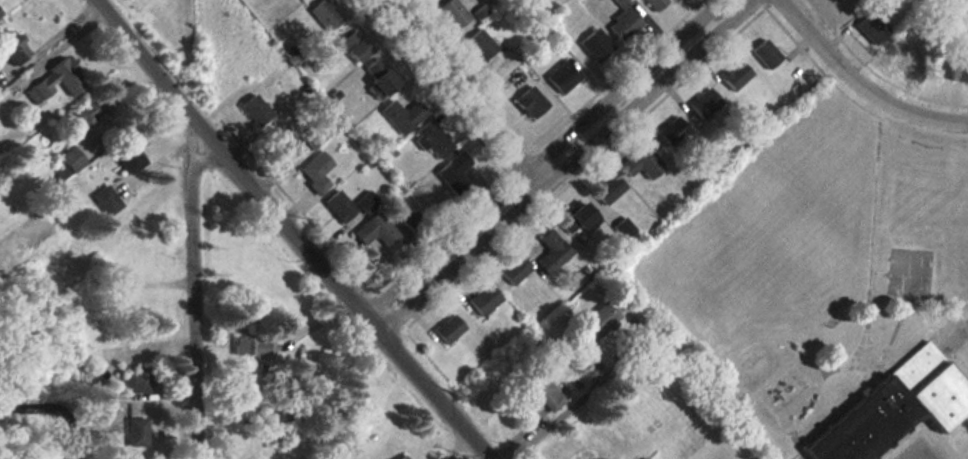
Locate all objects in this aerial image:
building: (836, 3)
building: (652, 4)
building: (324, 13)
building: (451, 14)
building: (620, 25)
building: (872, 29)
road: (50, 39)
building: (477, 45)
building: (593, 45)
building: (353, 47)
building: (905, 53)
building: (763, 54)
building: (957, 72)
building: (732, 76)
building: (559, 78)
building: (54, 81)
building: (378, 82)
road: (861, 84)
road: (458, 89)
building: (527, 103)
building: (701, 105)
building: (253, 110)
building: (87, 112)
building: (399, 113)
building: (669, 132)
building: (432, 140)
building: (280, 143)
building: (125, 155)
building: (69, 160)
road: (556, 161)
building: (640, 163)
building: (312, 171)
building: (452, 175)
building: (606, 190)
building: (103, 200)
building: (364, 202)
building: (336, 206)
building: (574, 219)
building: (374, 230)
road: (292, 231)
building: (550, 252)
building: (511, 271)
road: (193, 293)
building: (480, 300)
building: (595, 322)
building: (445, 330)
building: (251, 347)
building: (133, 379)
building: (539, 390)
building: (890, 408)
road: (571, 413)
building: (135, 430)
building: (399, 457)
building: (644, 458)

